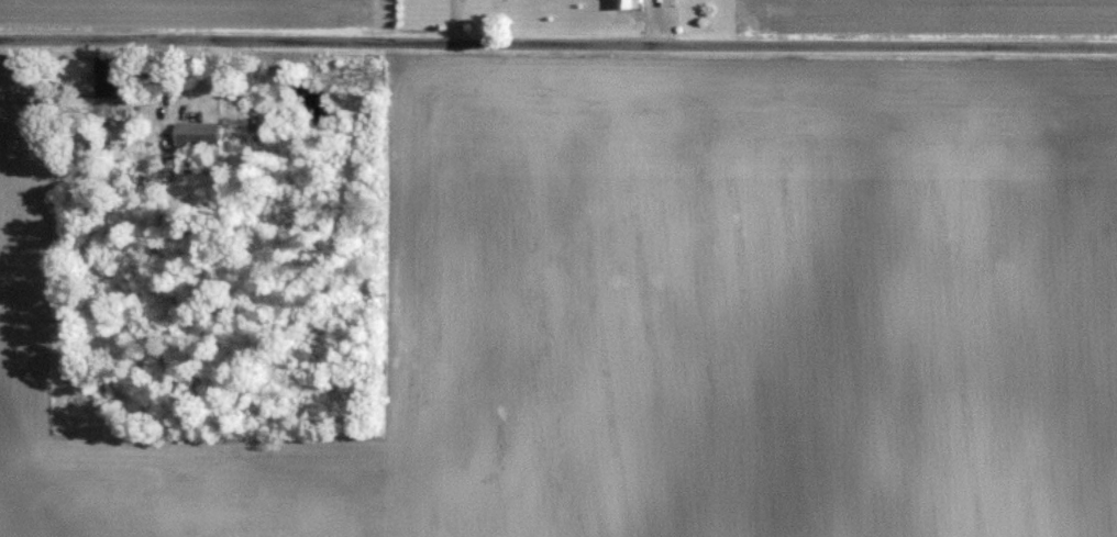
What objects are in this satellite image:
road: (558, 59)

